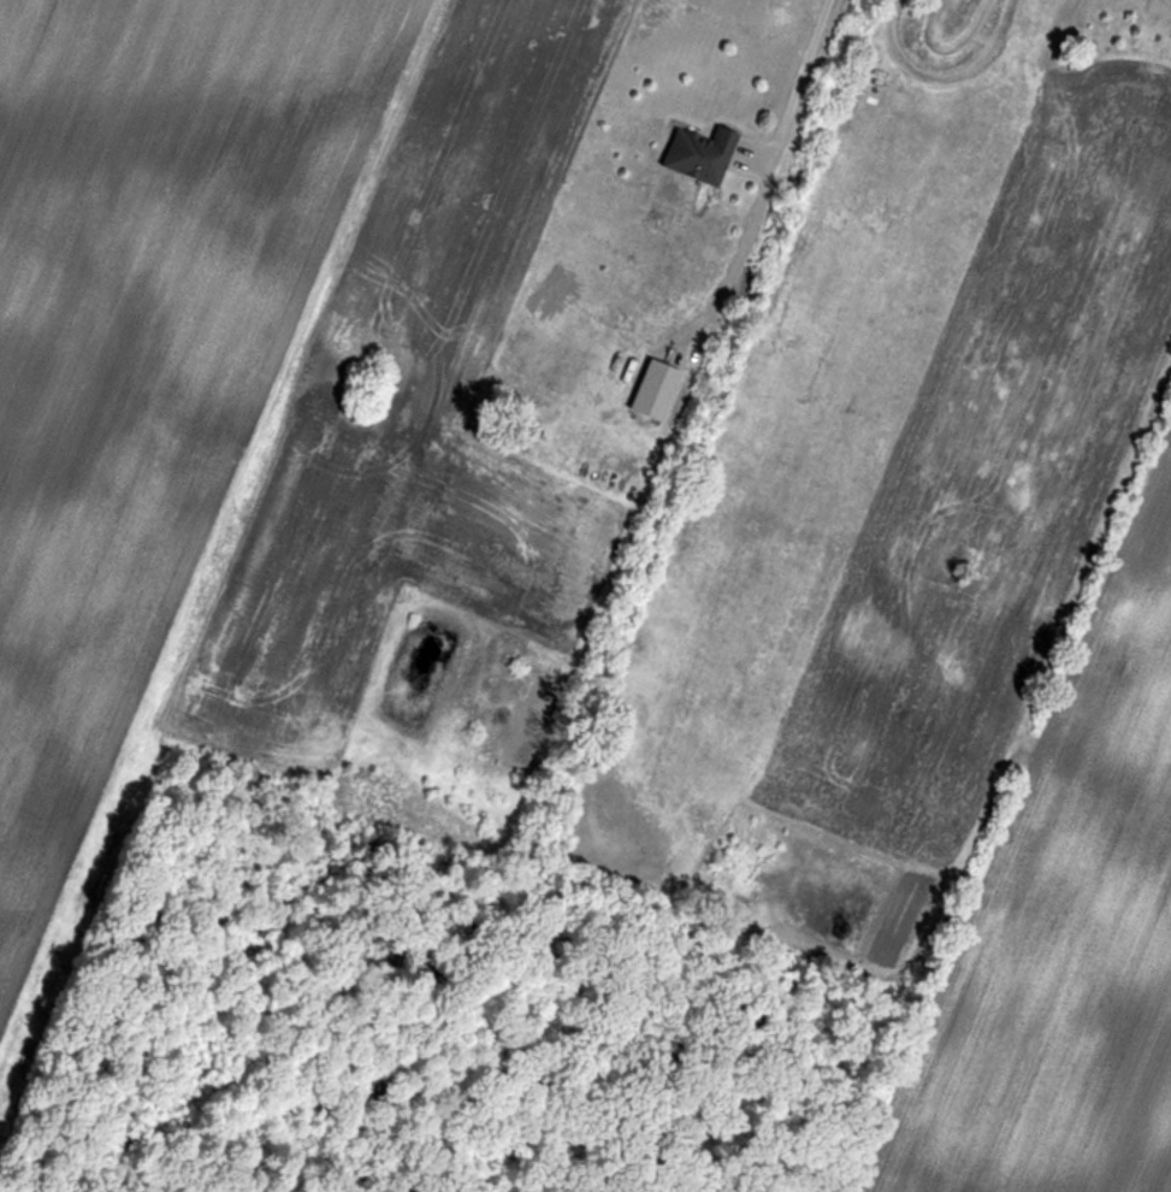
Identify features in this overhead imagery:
building: (700, 155)
road: (771, 167)
building: (538, 297)
crop: (140, 338)
building: (655, 389)
crop: (469, 425)
crop: (885, 508)
crop: (1065, 928)

